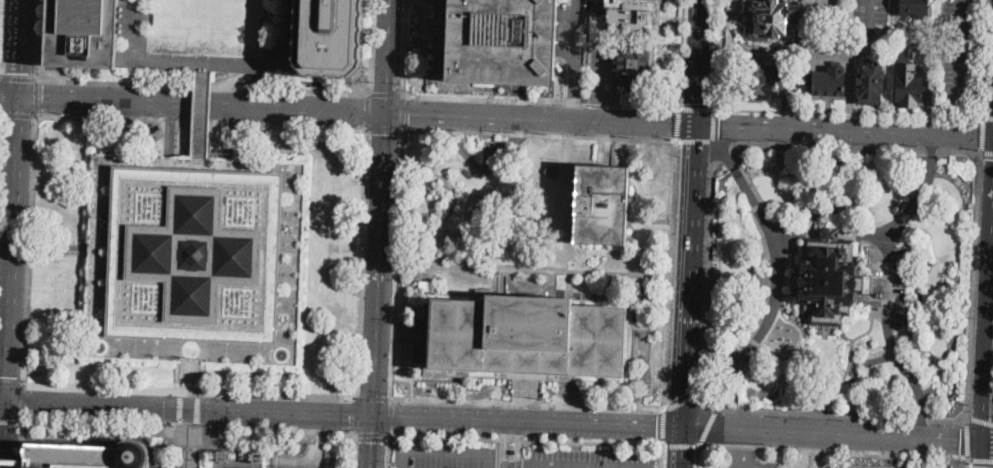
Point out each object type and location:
road: (418, 1)
parking lot: (817, 2)
road: (2, 7)
building: (915, 7)
road: (446, 10)
parking lot: (580, 10)
road: (868, 16)
building: (631, 17)
building: (769, 17)
road: (424, 18)
parking lot: (867, 18)
road: (442, 19)
building: (842, 19)
parking lot: (206, 24)
road: (137, 30)
building: (807, 30)
road: (422, 31)
road: (442, 32)
building: (83, 33)
road: (285, 33)
building: (330, 36)
road: (2, 38)
road: (37, 39)
building: (504, 42)
road: (371, 46)
road: (415, 46)
road: (404, 47)
road: (20, 49)
road: (959, 50)
parking lot: (957, 52)
road: (681, 53)
parking lot: (829, 53)
road: (829, 53)
building: (901, 53)
road: (716, 54)
road: (388, 57)
road: (985, 58)
road: (572, 60)
road: (701, 63)
road: (209, 64)
building: (634, 65)
building: (783, 73)
road: (442, 74)
parking lot: (578, 74)
road: (1, 77)
road: (601, 77)
parking lot: (603, 77)
road: (19, 78)
building: (759, 80)
building: (831, 81)
building: (870, 81)
building: (909, 84)
road: (202, 86)
road: (481, 87)
road: (558, 87)
road: (849, 91)
road: (491, 92)
road: (386, 93)
road: (1, 94)
road: (36, 97)
road: (9, 98)
traffic signals: (18, 99)
road: (541, 101)
road: (190, 102)
road: (105, 103)
road: (696, 108)
road: (289, 110)
road: (368, 110)
road: (203, 111)
road: (405, 111)
road: (0, 112)
road: (847, 112)
road: (599, 113)
road: (18, 114)
traffic signals: (386, 114)
road: (987, 117)
road: (201, 120)
road: (541, 120)
road: (678, 124)
road: (713, 124)
road: (0, 126)
road: (385, 127)
traffic signals: (698, 127)
road: (228, 129)
road: (845, 129)
road: (168, 131)
road: (570, 132)
road: (541, 133)
road: (981, 135)
road: (695, 141)
road: (721, 142)
road: (855, 147)
road: (721, 151)
road: (986, 153)
road: (734, 154)
building: (553, 171)
road: (753, 184)
road: (454, 194)
road: (918, 203)
building: (602, 204)
road: (757, 207)
parking lot: (533, 211)
road: (650, 220)
road: (7, 231)
road: (790, 232)
road: (832, 233)
road: (51, 247)
road: (767, 247)
road: (889, 247)
road: (28, 249)
road: (13, 250)
parking lot: (195, 259)
building: (196, 259)
road: (6, 260)
road: (361, 262)
road: (399, 264)
road: (380, 266)
road: (534, 271)
road: (670, 274)
road: (708, 275)
road: (690, 277)
building: (829, 277)
building: (740, 278)
road: (740, 280)
park: (841, 280)
parking lot: (888, 281)
road: (776, 282)
road: (778, 282)
road: (787, 282)
building: (428, 284)
road: (972, 287)
road: (888, 290)
building: (918, 299)
road: (764, 308)
road: (991, 322)
building: (525, 339)
road: (857, 339)
road: (755, 342)
road: (988, 348)
road: (872, 362)
road: (746, 370)
road: (188, 376)
road: (506, 377)
road: (910, 377)
road: (429, 379)
road: (11, 384)
road: (188, 391)
road: (373, 397)
road: (710, 399)
road: (683, 400)
road: (724, 400)
road: (4, 401)
traffic signals: (9, 402)
road: (22, 402)
road: (527, 404)
road: (94, 405)
road: (180, 406)
road: (198, 407)
building: (885, 407)
road: (277, 414)
road: (841, 415)
road: (355, 416)
road: (392, 417)
traffic signals: (375, 419)
road: (10, 420)
road: (978, 423)
road: (528, 424)
road: (179, 425)
road: (706, 425)
road: (197, 426)
road: (662, 426)
road: (187, 429)
traffic signals: (683, 429)
road: (7, 430)
road: (312, 433)
road: (322, 434)
road: (372, 435)
road: (833, 437)
road: (525, 440)
road: (965, 440)
road: (373, 443)
road: (21, 444)
road: (679, 444)
traffic signals: (985, 444)
road: (989, 444)
road: (506, 446)
road: (520, 447)
road: (682, 448)
road: (187, 449)
road: (741, 449)
road: (240, 450)
road: (353, 451)
road: (389, 451)
road: (810, 451)
road: (832, 451)
building: (513, 453)
building: (92, 454)
road: (448, 454)
building: (224, 455)
road: (984, 455)
building: (259, 456)
road: (661, 456)
road: (697, 456)
parking lot: (517, 457)
road: (980, 458)
road: (404, 460)
road: (490, 462)
road: (7, 463)
building: (13, 463)
parking lot: (856, 463)
road: (966, 463)
parking lot: (753, 464)
road: (300, 465)
road: (6, 467)
road: (551, 467)

